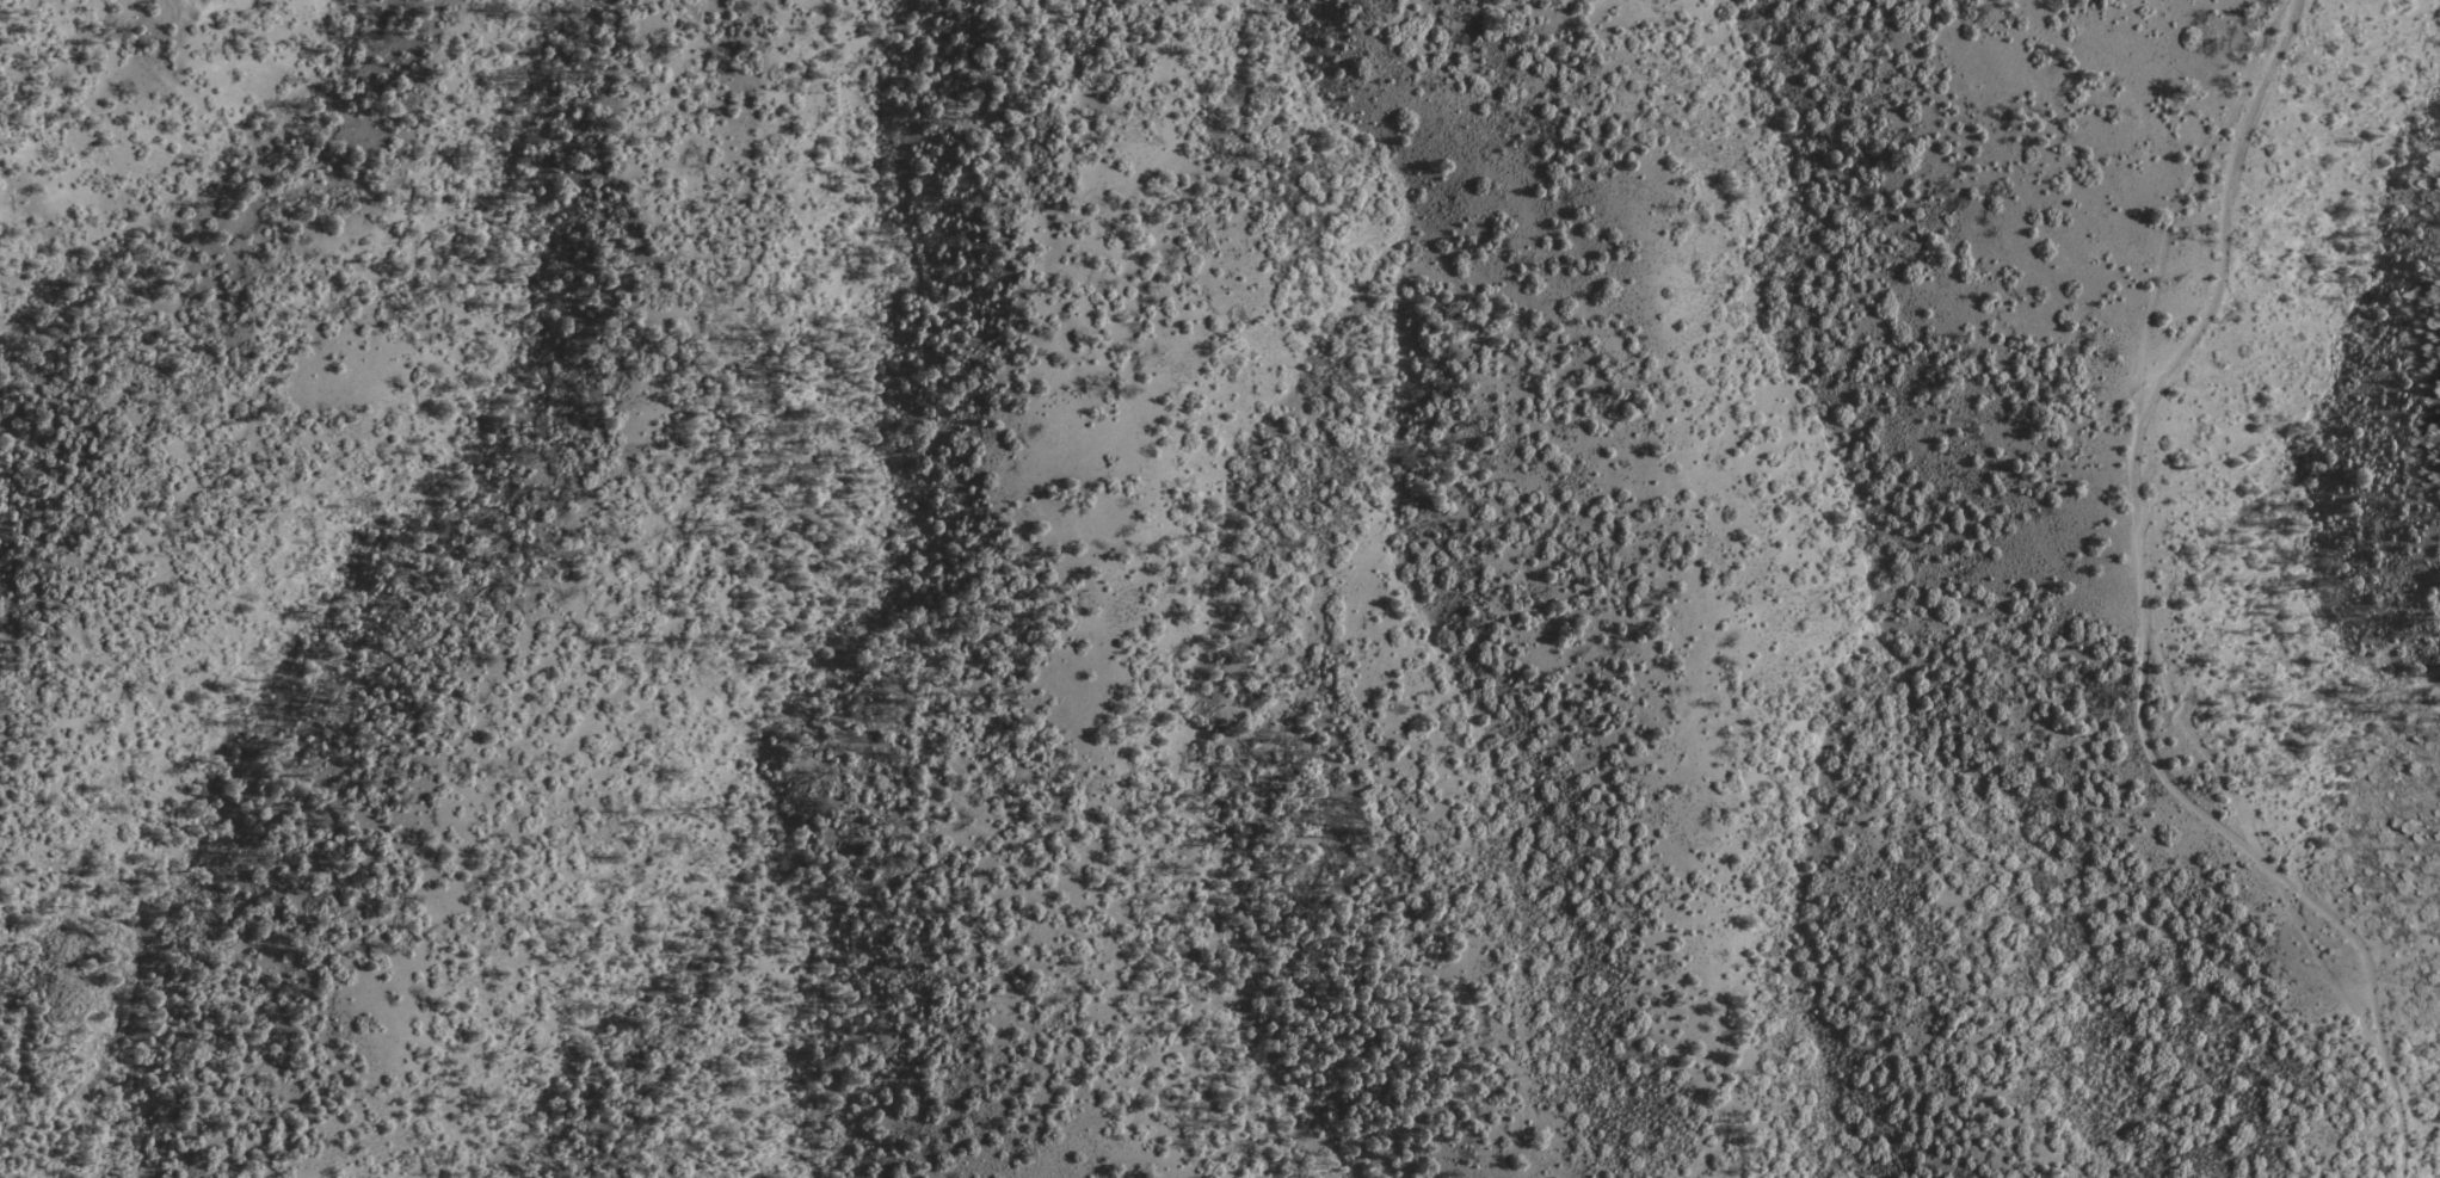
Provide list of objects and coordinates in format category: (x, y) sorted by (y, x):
road: (2134, 622)

